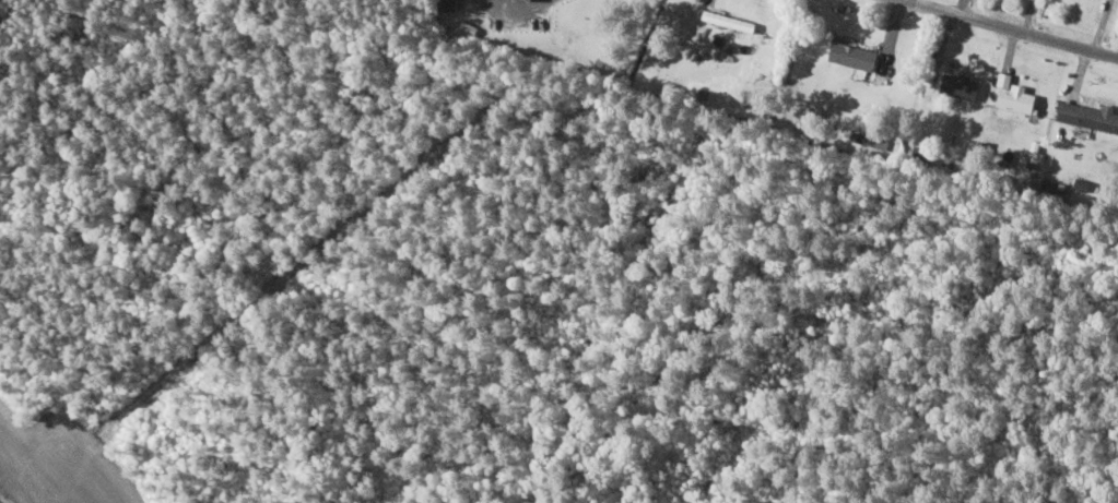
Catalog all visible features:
road: (538, 3)
road: (1011, 29)
building: (856, 55)
building: (963, 85)
building: (1015, 94)
building: (1092, 115)
road: (3, 499)

